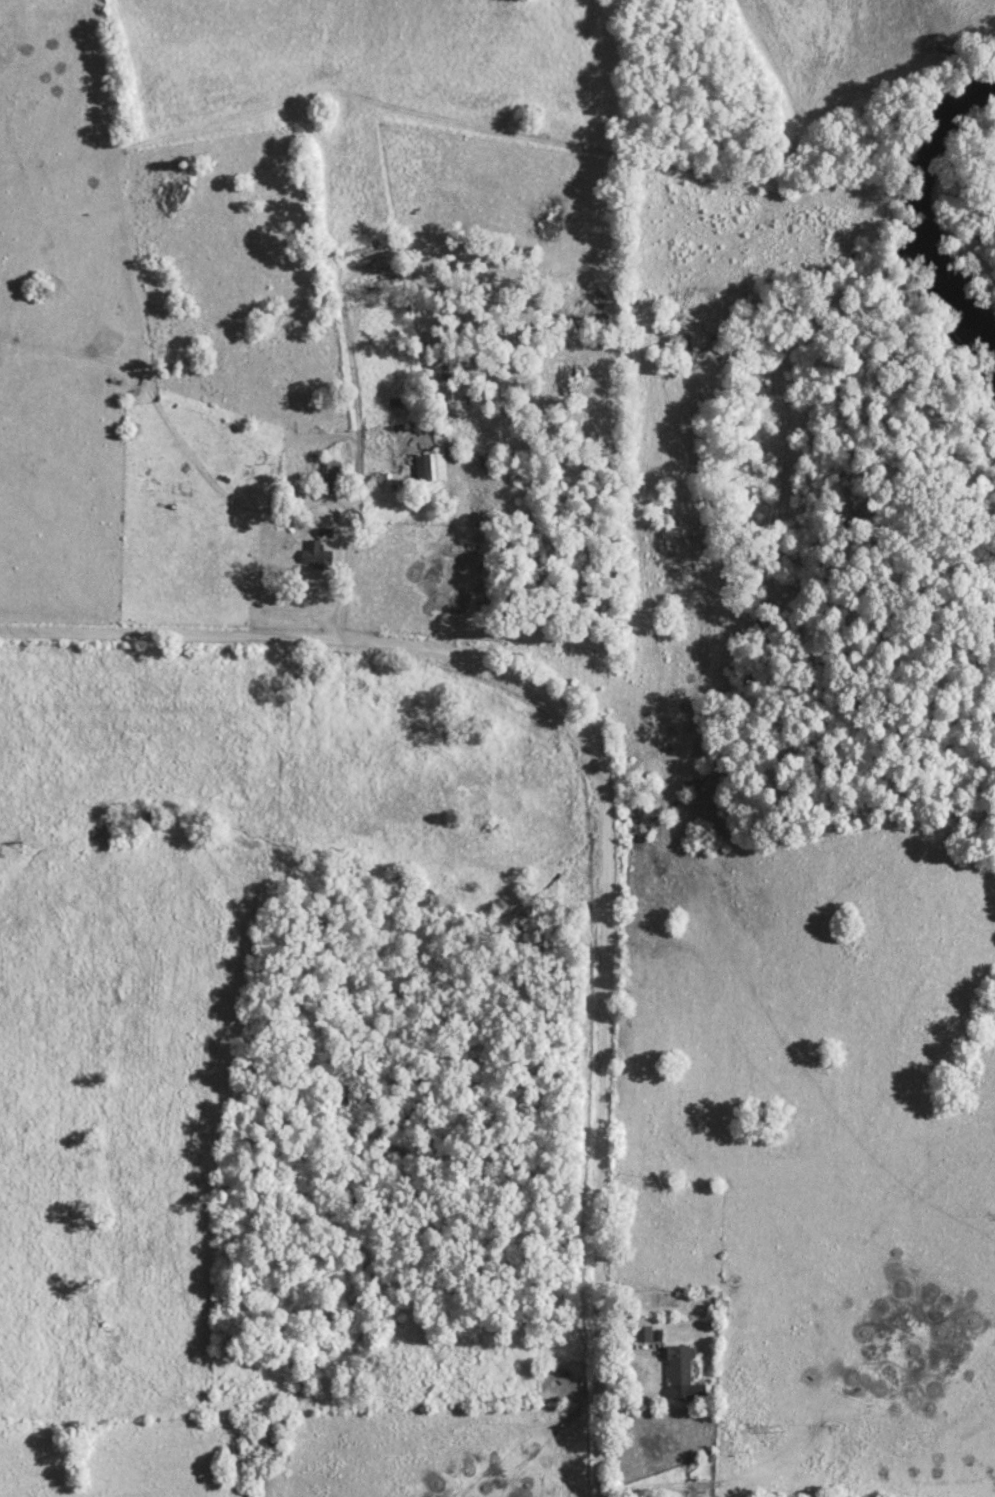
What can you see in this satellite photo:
road: (454, 131)
road: (145, 145)
river: (925, 217)
road: (349, 301)
building: (429, 466)
building: (329, 474)
building: (316, 555)
road: (604, 812)
building: (642, 1333)
building: (678, 1364)

